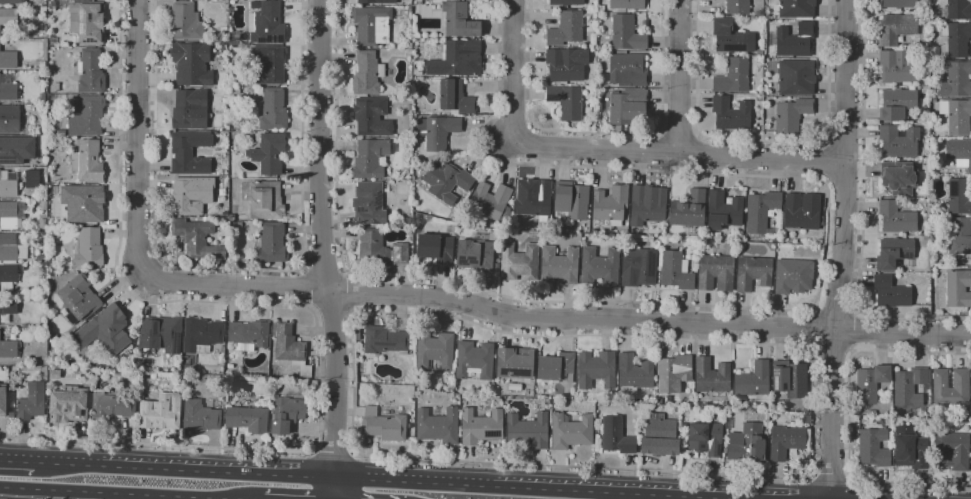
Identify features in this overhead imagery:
building: (376, 1)
building: (12, 2)
building: (566, 2)
building: (900, 3)
building: (626, 5)
building: (737, 7)
building: (794, 9)
building: (43, 10)
building: (956, 10)
building: (759, 14)
rooftop solar panel: (80, 15)
building: (8, 17)
rooftop solar panel: (89, 17)
building: (459, 21)
building: (87, 22)
building: (185, 22)
building: (645, 24)
building: (267, 25)
building: (372, 25)
rooftop solar panel: (81, 28)
building: (896, 28)
building: (566, 29)
building: (626, 34)
rooftop solar panel: (266, 37)
building: (731, 37)
building: (234, 38)
building: (957, 38)
rooftop solar panel: (274, 40)
rooftop solar panel: (277, 40)
building: (795, 40)
rooftop solar panel: (259, 41)
building: (52, 42)
building: (409, 45)
building: (224, 46)
building: (410, 51)
building: (760, 52)
building: (457, 59)
building: (8, 60)
building: (192, 64)
building: (566, 64)
building: (269, 65)
building: (897, 67)
building: (627, 70)
building: (417, 71)
building: (90, 72)
road: (513, 73)
building: (367, 74)
building: (733, 76)
road: (680, 77)
building: (796, 77)
building: (957, 80)
building: (7, 88)
building: (235, 90)
building: (226, 91)
building: (455, 97)
building: (566, 101)
building: (898, 104)
building: (626, 108)
building: (190, 110)
building: (273, 110)
building: (730, 114)
building: (86, 115)
building: (792, 115)
building: (956, 115)
building: (372, 117)
building: (9, 119)
building: (438, 131)
road: (598, 132)
building: (61, 133)
road: (680, 134)
road: (138, 137)
road: (844, 140)
road: (764, 141)
building: (899, 142)
road: (320, 146)
building: (16, 150)
road: (660, 152)
building: (959, 152)
building: (189, 153)
building: (270, 153)
road: (679, 153)
road: (698, 154)
rooftop solar panel: (4, 159)
building: (371, 159)
building: (87, 162)
road: (826, 162)
building: (898, 178)
building: (32, 179)
building: (447, 182)
road: (844, 183)
building: (8, 184)
rooftop solar panel: (955, 189)
building: (191, 195)
building: (959, 196)
building: (533, 198)
building: (266, 201)
building: (490, 201)
building: (570, 201)
rooftop solar panel: (377, 202)
building: (82, 203)
building: (369, 204)
building: (610, 204)
building: (647, 205)
rooftop solar panel: (361, 210)
building: (689, 211)
building: (723, 211)
building: (761, 211)
building: (802, 211)
road: (861, 213)
building: (12, 214)
building: (896, 218)
building: (205, 219)
building: (821, 221)
building: (405, 223)
building: (42, 224)
building: (593, 233)
building: (959, 236)
building: (196, 238)
building: (819, 242)
building: (272, 244)
building: (88, 248)
building: (373, 248)
building: (435, 248)
road: (844, 249)
building: (8, 252)
building: (399, 253)
building: (893, 253)
building: (475, 255)
rooftop solar panel: (906, 256)
building: (519, 263)
rooftop solar panel: (649, 264)
building: (559, 266)
building: (599, 266)
building: (638, 267)
road: (323, 268)
road: (236, 269)
building: (675, 270)
building: (715, 273)
building: (753, 273)
building: (793, 276)
building: (7, 278)
road: (238, 286)
road: (302, 287)
building: (958, 288)
road: (349, 291)
building: (890, 292)
building: (80, 297)
road: (297, 306)
building: (7, 308)
road: (765, 309)
road: (835, 309)
road: (333, 311)
road: (650, 320)
rooftop solar panel: (151, 326)
road: (811, 329)
building: (104, 331)
road: (853, 331)
building: (161, 335)
building: (201, 335)
building: (248, 335)
building: (387, 341)
rooftop solar panel: (175, 344)
rooftop solar panel: (382, 344)
building: (290, 348)
building: (8, 349)
road: (801, 349)
building: (434, 351)
road: (831, 353)
building: (474, 360)
building: (514, 363)
building: (555, 367)
building: (596, 369)
rooftop solar panel: (500, 371)
building: (264, 373)
rooftop solar panel: (515, 373)
building: (673, 373)
building: (634, 374)
building: (711, 376)
rooftop solar panel: (775, 377)
building: (790, 379)
building: (753, 380)
building: (870, 383)
building: (909, 387)
building: (950, 388)
rooftop solar panel: (63, 391)
road: (336, 395)
building: (3, 400)
building: (31, 402)
building: (554, 402)
building: (707, 405)
building: (112, 406)
building: (65, 407)
building: (161, 412)
building: (871, 412)
building: (287, 414)
road: (848, 415)
building: (199, 416)
building: (247, 419)
building: (383, 425)
building: (438, 426)
building: (481, 427)
building: (528, 430)
building: (571, 431)
rooftop solar panel: (494, 432)
rooftop solar panel: (705, 433)
building: (616, 436)
building: (659, 438)
building: (705, 438)
building: (787, 441)
building: (746, 443)
rooftop solar panel: (701, 446)
building: (873, 447)
building: (910, 448)
rooftop solar panel: (718, 450)
building: (951, 451)
road: (332, 455)
road: (17, 462)
road: (184, 471)
road: (833, 476)
road: (482, 485)
road: (350, 488)
road: (106, 493)
road: (671, 496)
road: (195, 498)
road: (713, 498)
road: (724, 498)

